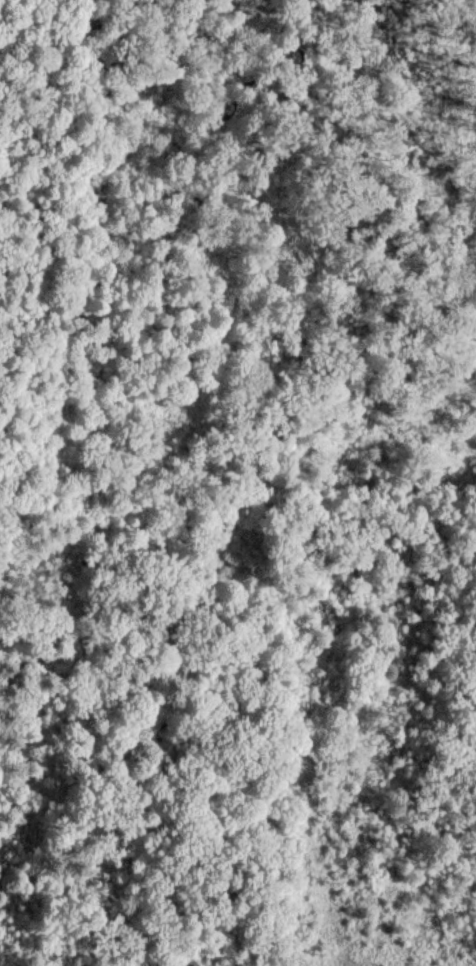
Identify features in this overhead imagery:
road: (238, 508)

